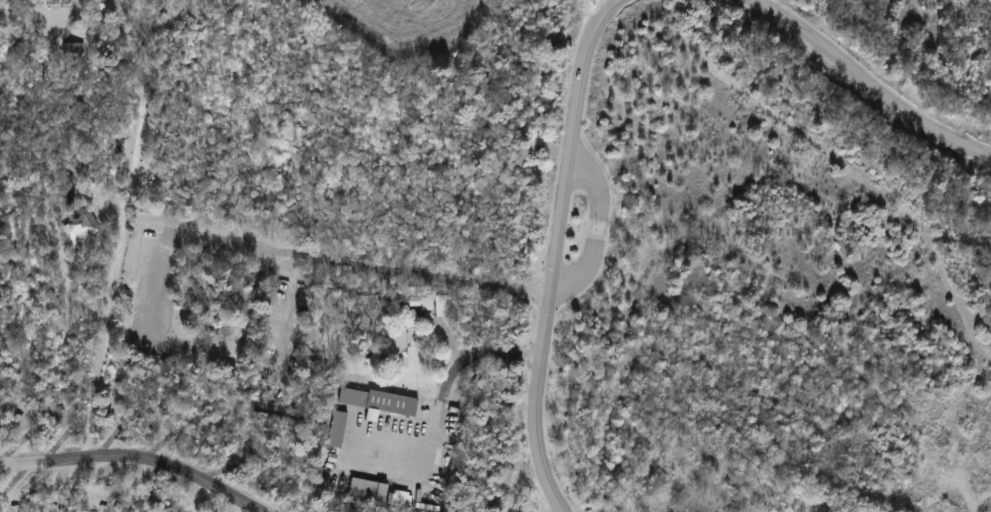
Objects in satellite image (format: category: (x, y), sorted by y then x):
road: (615, 0)
road: (168, 24)
road: (66, 34)
building: (73, 50)
road: (873, 83)
road: (137, 167)
road: (596, 220)
building: (82, 226)
road: (211, 242)
road: (556, 252)
park: (495, 256)
road: (285, 265)
parking lot: (159, 285)
road: (134, 286)
building: (427, 298)
building: (441, 304)
building: (409, 316)
road: (444, 335)
building: (397, 348)
road: (466, 357)
road: (99, 370)
building: (378, 400)
building: (336, 427)
road: (138, 457)
building: (366, 487)

